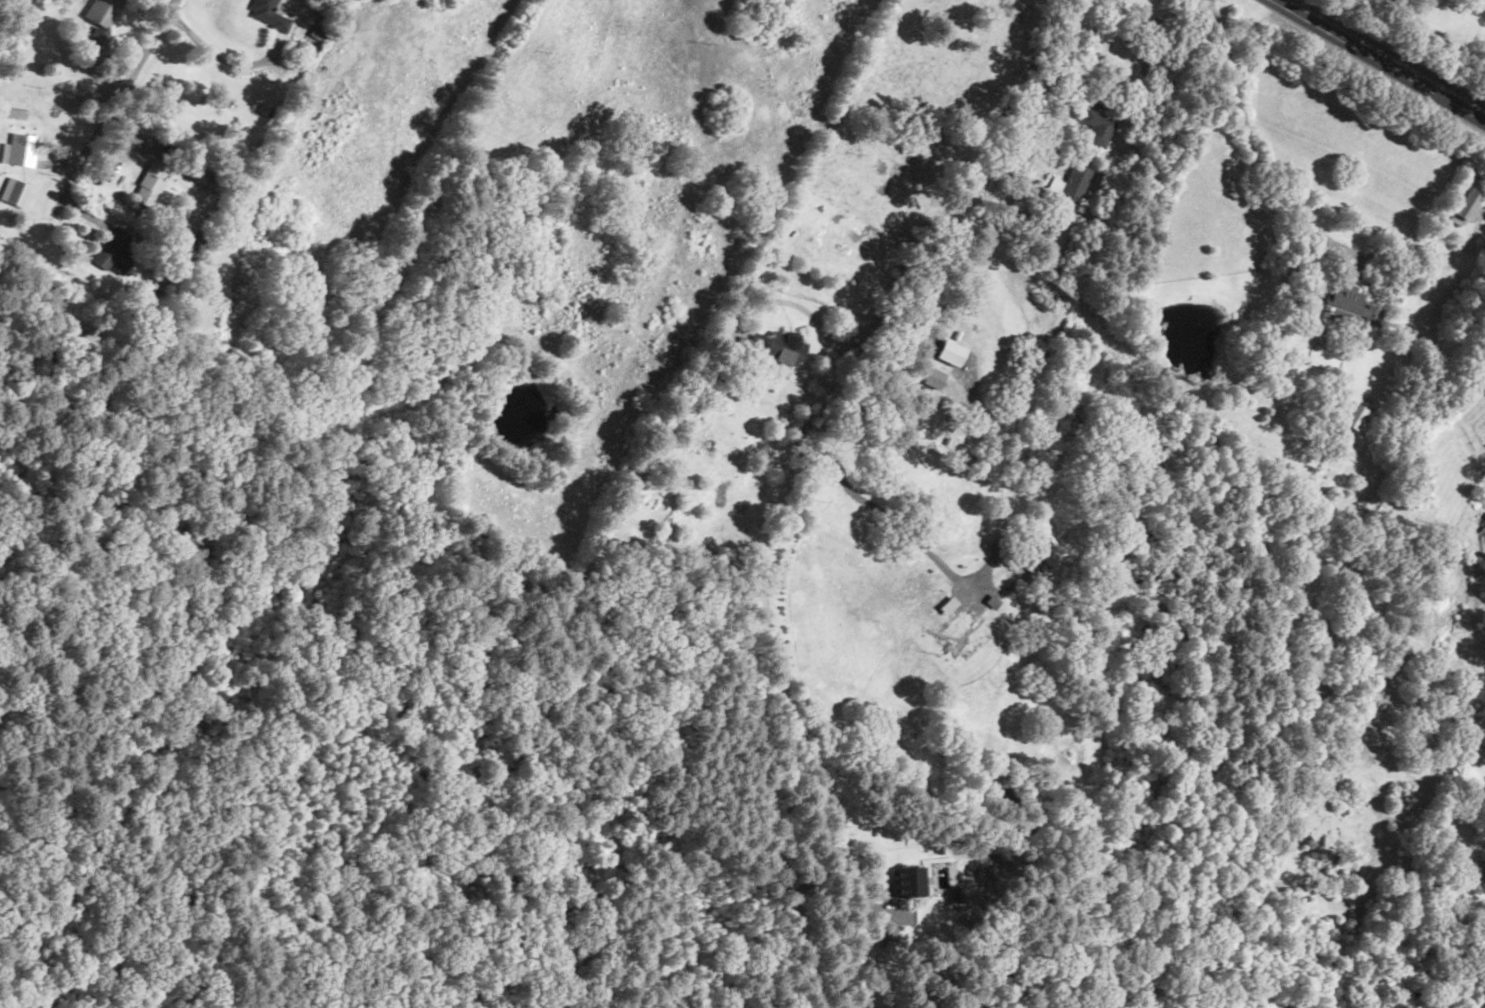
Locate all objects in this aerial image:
building: (103, 11)
building: (268, 14)
road: (140, 48)
road: (1375, 62)
building: (1096, 126)
building: (18, 149)
road: (806, 168)
building: (195, 174)
building: (146, 184)
building: (1072, 186)
building: (15, 192)
building: (1465, 203)
building: (107, 246)
road: (1085, 251)
building: (1350, 307)
building: (784, 347)
building: (932, 377)
building: (1353, 415)
road: (807, 479)
building: (1484, 531)
building: (1045, 550)
building: (907, 881)

